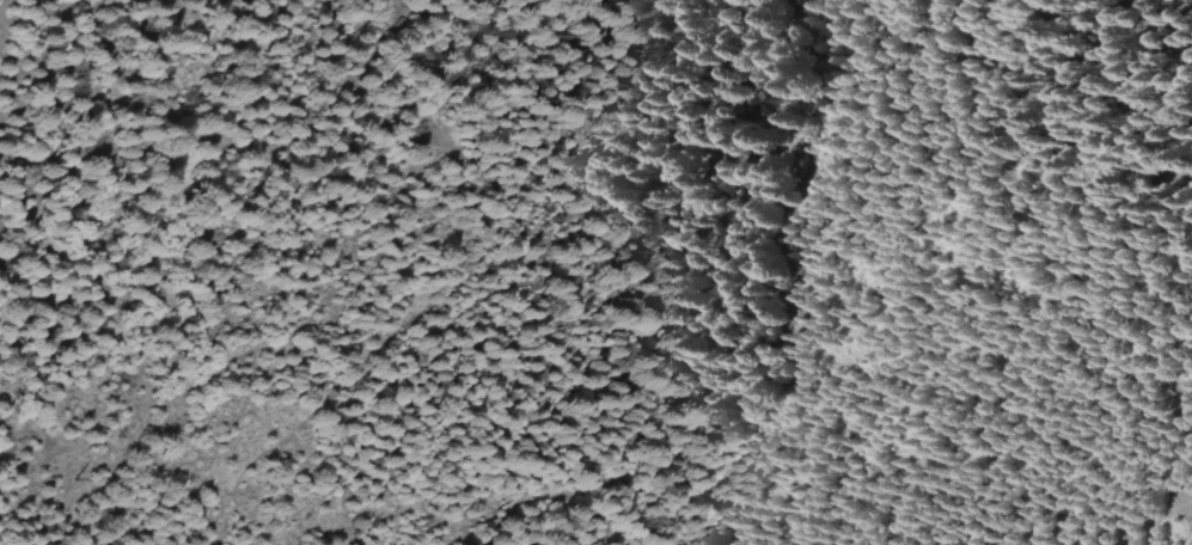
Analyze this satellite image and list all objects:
road: (433, 213)
road: (1163, 519)

